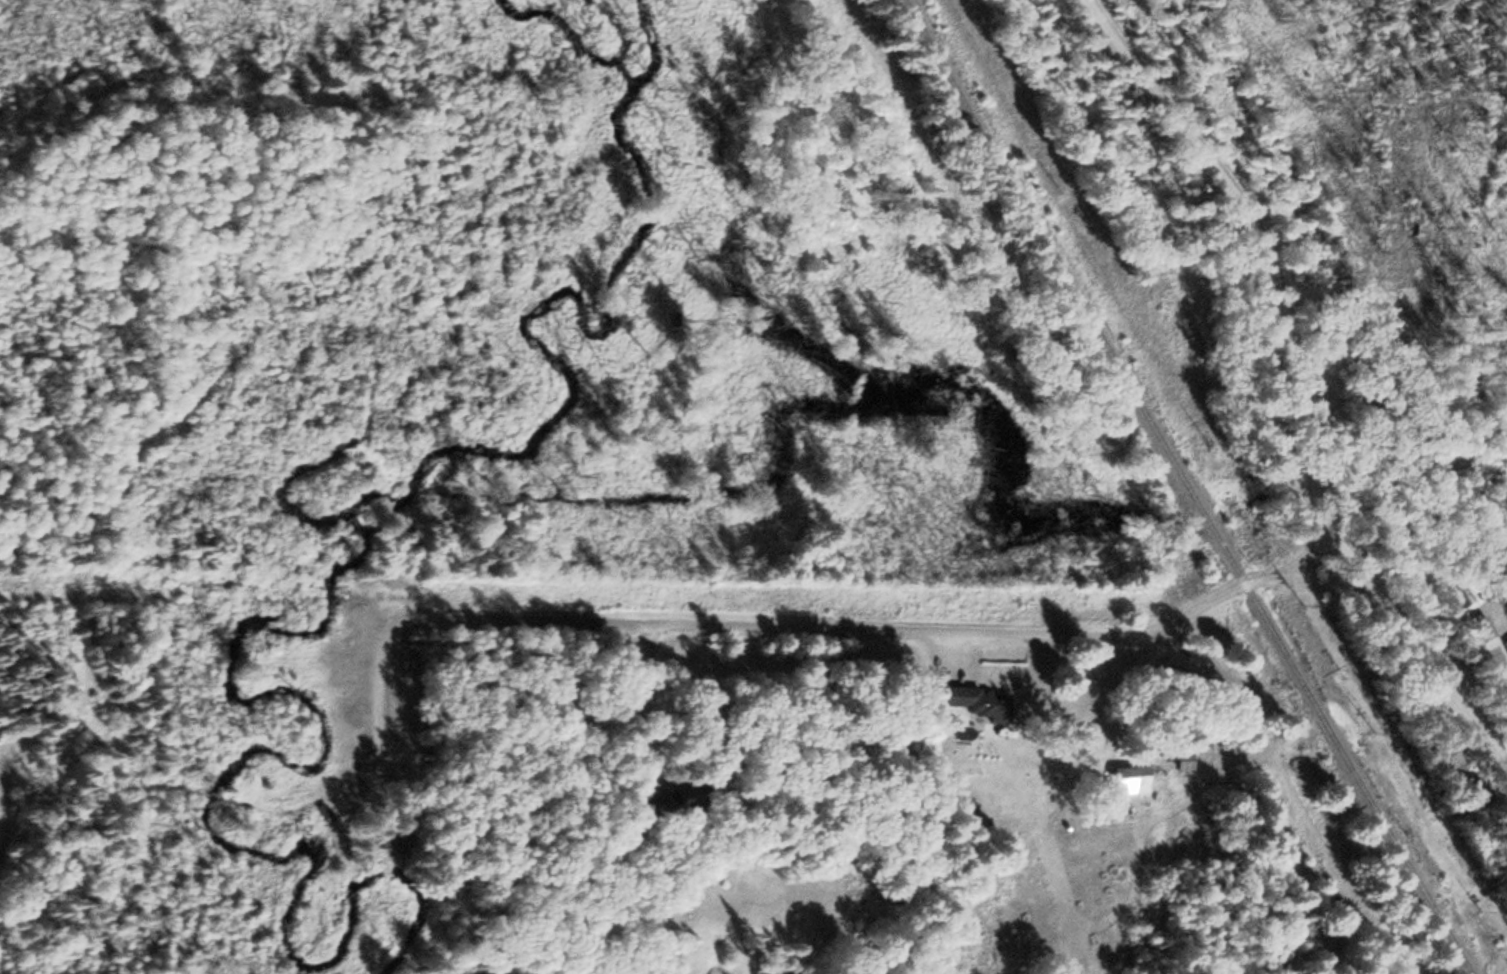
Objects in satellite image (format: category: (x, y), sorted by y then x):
road: (1279, 383)
railway: (1184, 485)
road: (1307, 580)
road: (848, 630)
building: (1504, 643)
building: (967, 700)
building: (1435, 752)
building: (1173, 759)
building: (1122, 779)
building: (1467, 786)
building: (666, 794)
building: (320, 812)
building: (392, 835)

